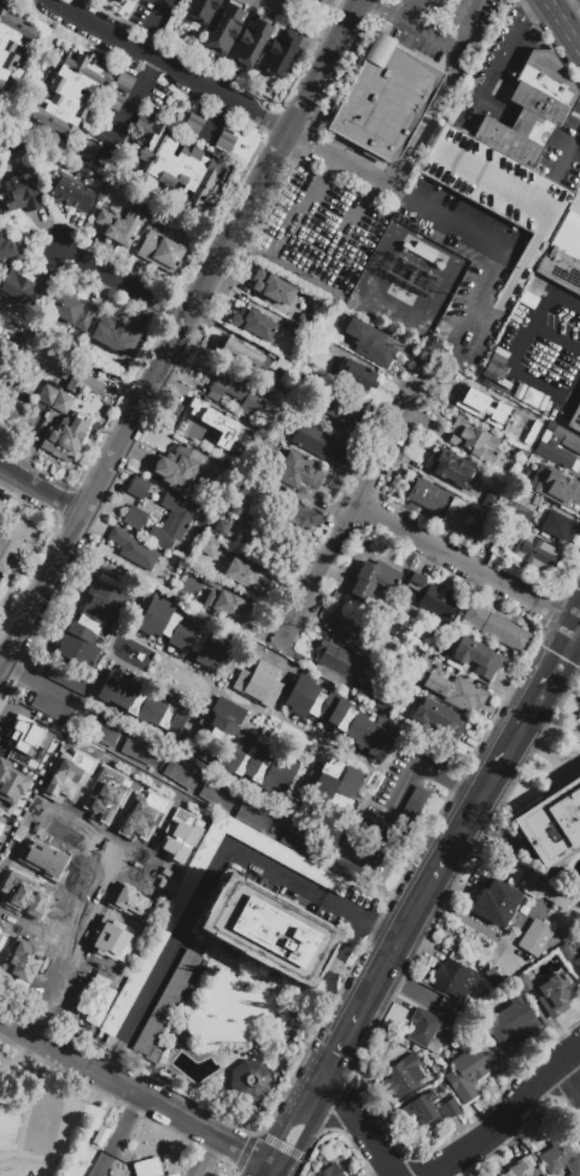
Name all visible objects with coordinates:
building: (119, 0)
building: (317, 1)
road: (529, 5)
building: (203, 10)
road: (382, 11)
road: (409, 11)
road: (307, 16)
road: (567, 21)
road: (156, 25)
building: (224, 29)
building: (11, 41)
building: (251, 41)
road: (508, 48)
road: (452, 49)
building: (279, 53)
road: (169, 65)
road: (316, 78)
building: (124, 82)
building: (68, 95)
building: (383, 99)
building: (113, 100)
road: (134, 103)
road: (218, 117)
road: (427, 121)
building: (193, 123)
building: (225, 141)
building: (87, 150)
road: (568, 154)
building: (174, 162)
building: (511, 162)
road: (397, 189)
building: (22, 192)
building: (72, 193)
road: (252, 197)
building: (119, 226)
building: (7, 246)
road: (253, 248)
building: (159, 251)
building: (424, 251)
building: (563, 254)
road: (299, 276)
road: (123, 283)
building: (20, 287)
building: (273, 287)
road: (547, 292)
building: (402, 294)
road: (485, 296)
building: (72, 311)
building: (304, 318)
building: (253, 323)
building: (294, 329)
building: (116, 335)
building: (369, 343)
building: (242, 352)
road: (512, 358)
building: (498, 365)
building: (281, 368)
building: (357, 374)
building: (497, 379)
building: (83, 385)
building: (235, 392)
building: (46, 397)
building: (531, 399)
building: (61, 404)
building: (334, 404)
building: (479, 404)
building: (204, 417)
building: (16, 420)
building: (574, 420)
building: (245, 426)
building: (65, 435)
building: (474, 441)
building: (320, 444)
building: (558, 447)
road: (117, 450)
building: (175, 464)
building: (449, 468)
building: (298, 473)
building: (555, 486)
building: (139, 487)
road: (42, 488)
building: (239, 490)
building: (478, 495)
building: (437, 499)
building: (235, 509)
building: (241, 513)
building: (515, 513)
road: (348, 514)
building: (134, 517)
building: (301, 521)
building: (171, 522)
building: (22, 523)
building: (222, 525)
building: (561, 526)
building: (503, 531)
building: (207, 546)
building: (11, 548)
building: (133, 549)
building: (532, 552)
road: (464, 564)
building: (244, 575)
building: (207, 578)
building: (373, 579)
building: (432, 597)
building: (225, 609)
road: (578, 622)
building: (93, 624)
road: (578, 626)
building: (497, 630)
building: (183, 636)
building: (355, 636)
building: (476, 659)
building: (342, 665)
road: (550, 671)
building: (69, 681)
building: (257, 686)
building: (458, 695)
building: (383, 698)
building: (142, 707)
building: (53, 712)
building: (341, 718)
building: (439, 722)
building: (24, 733)
building: (106, 738)
road: (505, 747)
building: (200, 751)
building: (247, 754)
building: (430, 754)
building: (140, 756)
building: (65, 773)
building: (183, 780)
building: (10, 782)
building: (336, 789)
building: (99, 790)
building: (218, 800)
road: (260, 805)
road: (473, 806)
building: (415, 807)
building: (134, 814)
building: (254, 821)
building: (552, 823)
building: (328, 824)
building: (0, 825)
building: (174, 836)
building: (298, 846)
building: (389, 853)
building: (36, 856)
building: (344, 870)
road: (429, 884)
road: (205, 889)
building: (547, 889)
building: (18, 890)
building: (124, 900)
building: (496, 902)
road: (461, 917)
road: (66, 923)
road: (368, 926)
building: (268, 932)
building: (1, 934)
building: (101, 935)
building: (563, 937)
building: (537, 940)
building: (19, 954)
building: (564, 954)
building: (579, 964)
building: (145, 966)
road: (379, 972)
building: (523, 981)
building: (456, 982)
building: (553, 991)
building: (166, 1008)
building: (511, 1020)
building: (426, 1032)
road: (24, 1034)
building: (90, 1034)
road: (335, 1049)
road: (112, 1058)
road: (20, 1059)
building: (433, 1069)
building: (470, 1069)
building: (405, 1075)
road: (569, 1078)
building: (250, 1082)
road: (160, 1106)
building: (451, 1110)
road: (27, 1114)
building: (423, 1114)
road: (508, 1117)
park: (49, 1118)
road: (63, 1121)
park: (43, 1123)
road: (99, 1123)
road: (286, 1124)
road: (356, 1128)
road: (300, 1131)
road: (256, 1133)
road: (118, 1134)
building: (101, 1136)
road: (282, 1145)
road: (244, 1151)
road: (207, 1157)
building: (560, 1159)
building: (147, 1168)
road: (301, 1168)
building: (521, 1170)
road: (263, 1171)
road: (269, 1171)
building: (330, 1171)
road: (235, 1172)
building: (174, 1175)

